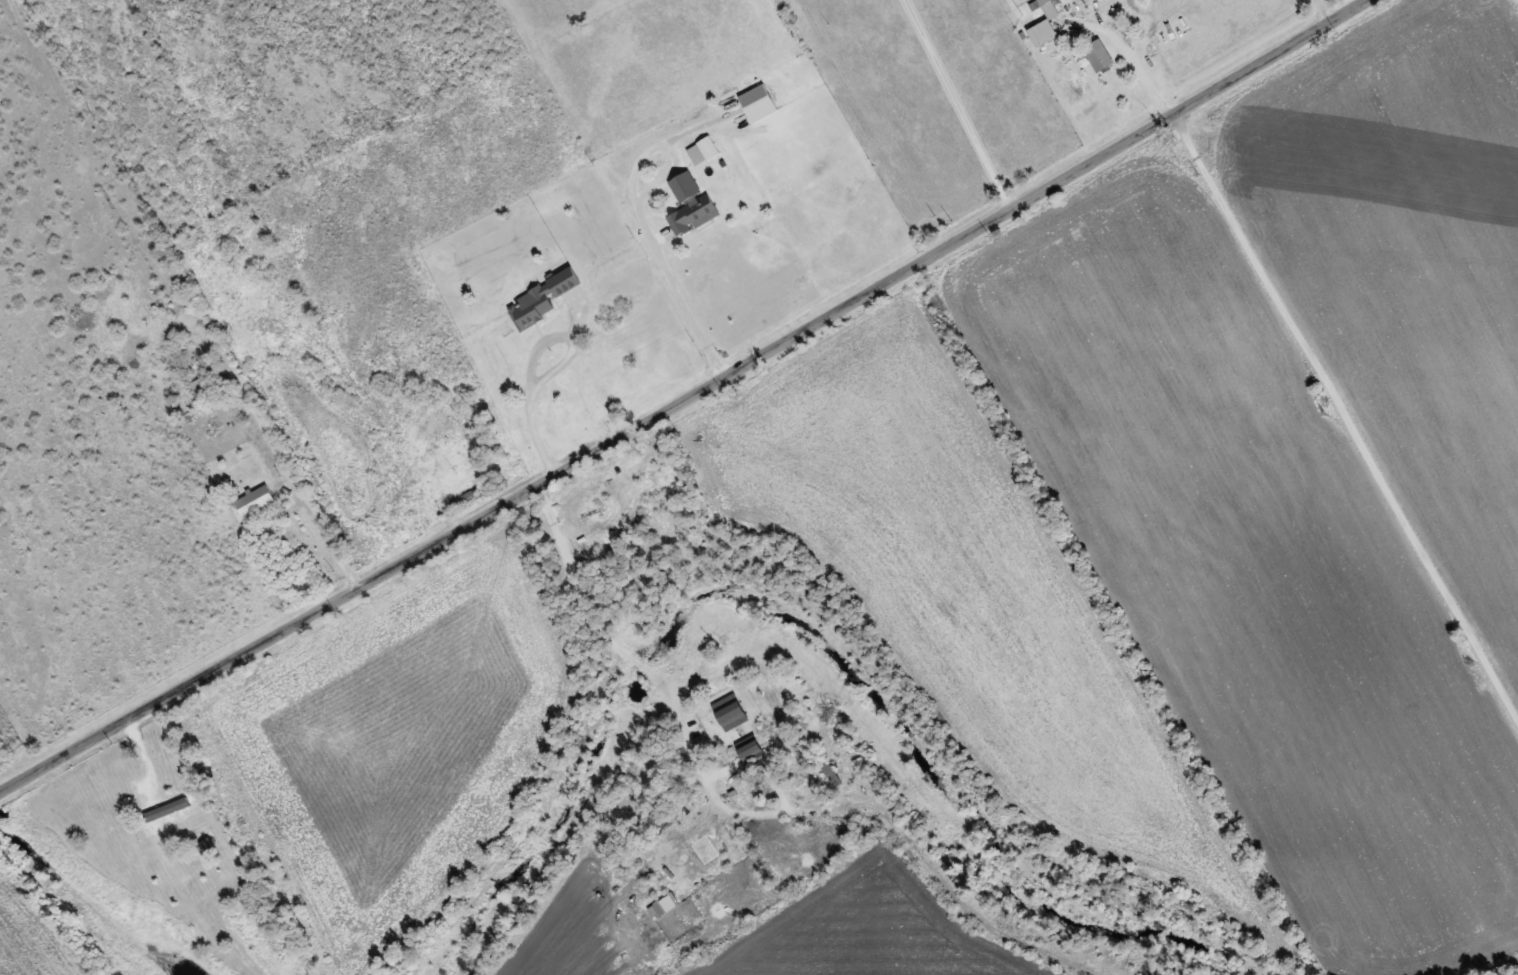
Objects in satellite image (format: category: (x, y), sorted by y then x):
building: (1049, 8)
building: (1098, 55)
building: (758, 101)
building: (703, 149)
building: (691, 203)
building: (542, 297)
building: (200, 382)
road: (707, 408)
building: (466, 498)
building: (256, 499)
building: (731, 710)
building: (752, 750)
building: (831, 772)
building: (188, 832)
building: (207, 845)
building: (664, 904)

